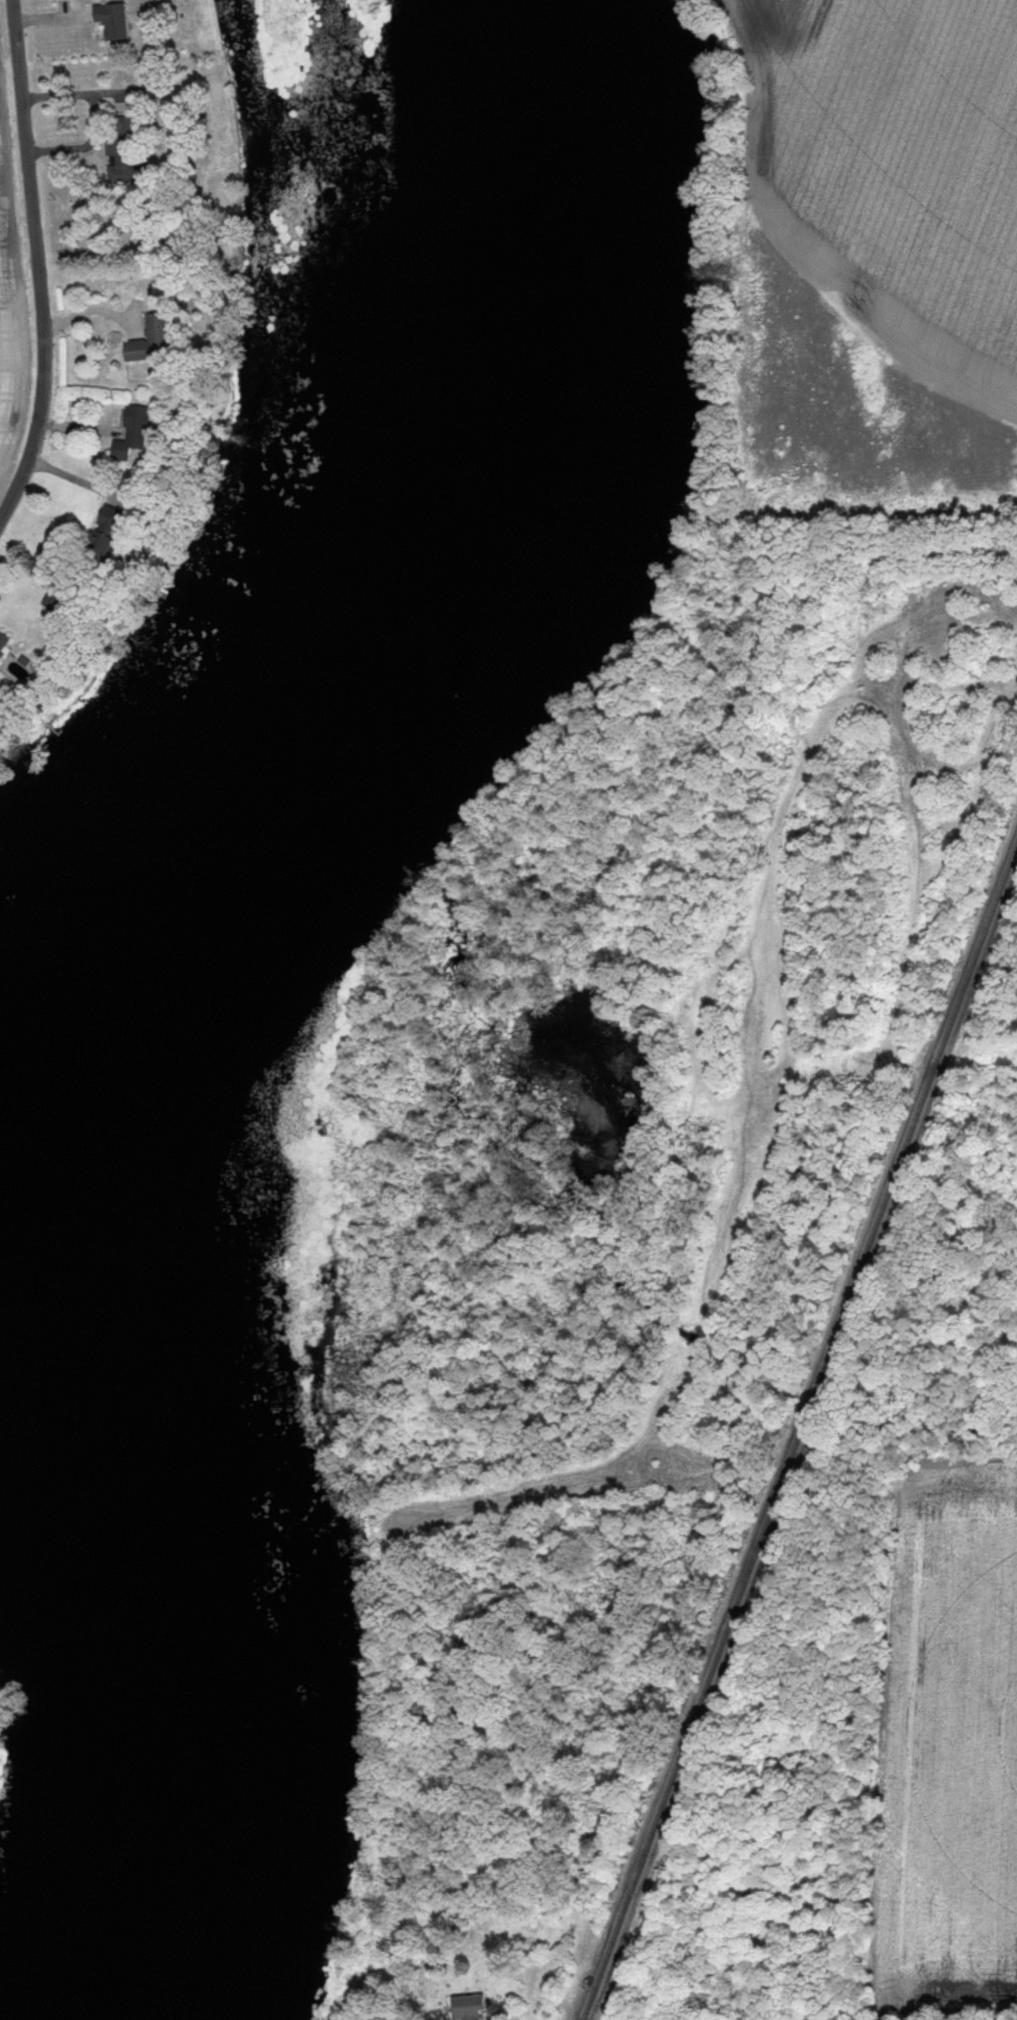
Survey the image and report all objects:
building: (108, 21)
road: (90, 115)
building: (116, 148)
river: (499, 258)
road: (40, 264)
road: (92, 310)
crop: (6, 321)
building: (144, 345)
building: (129, 434)
building: (99, 534)
building: (2, 643)
river: (134, 1223)
railway: (799, 1428)
building: (462, 2008)
road: (945, 2015)

